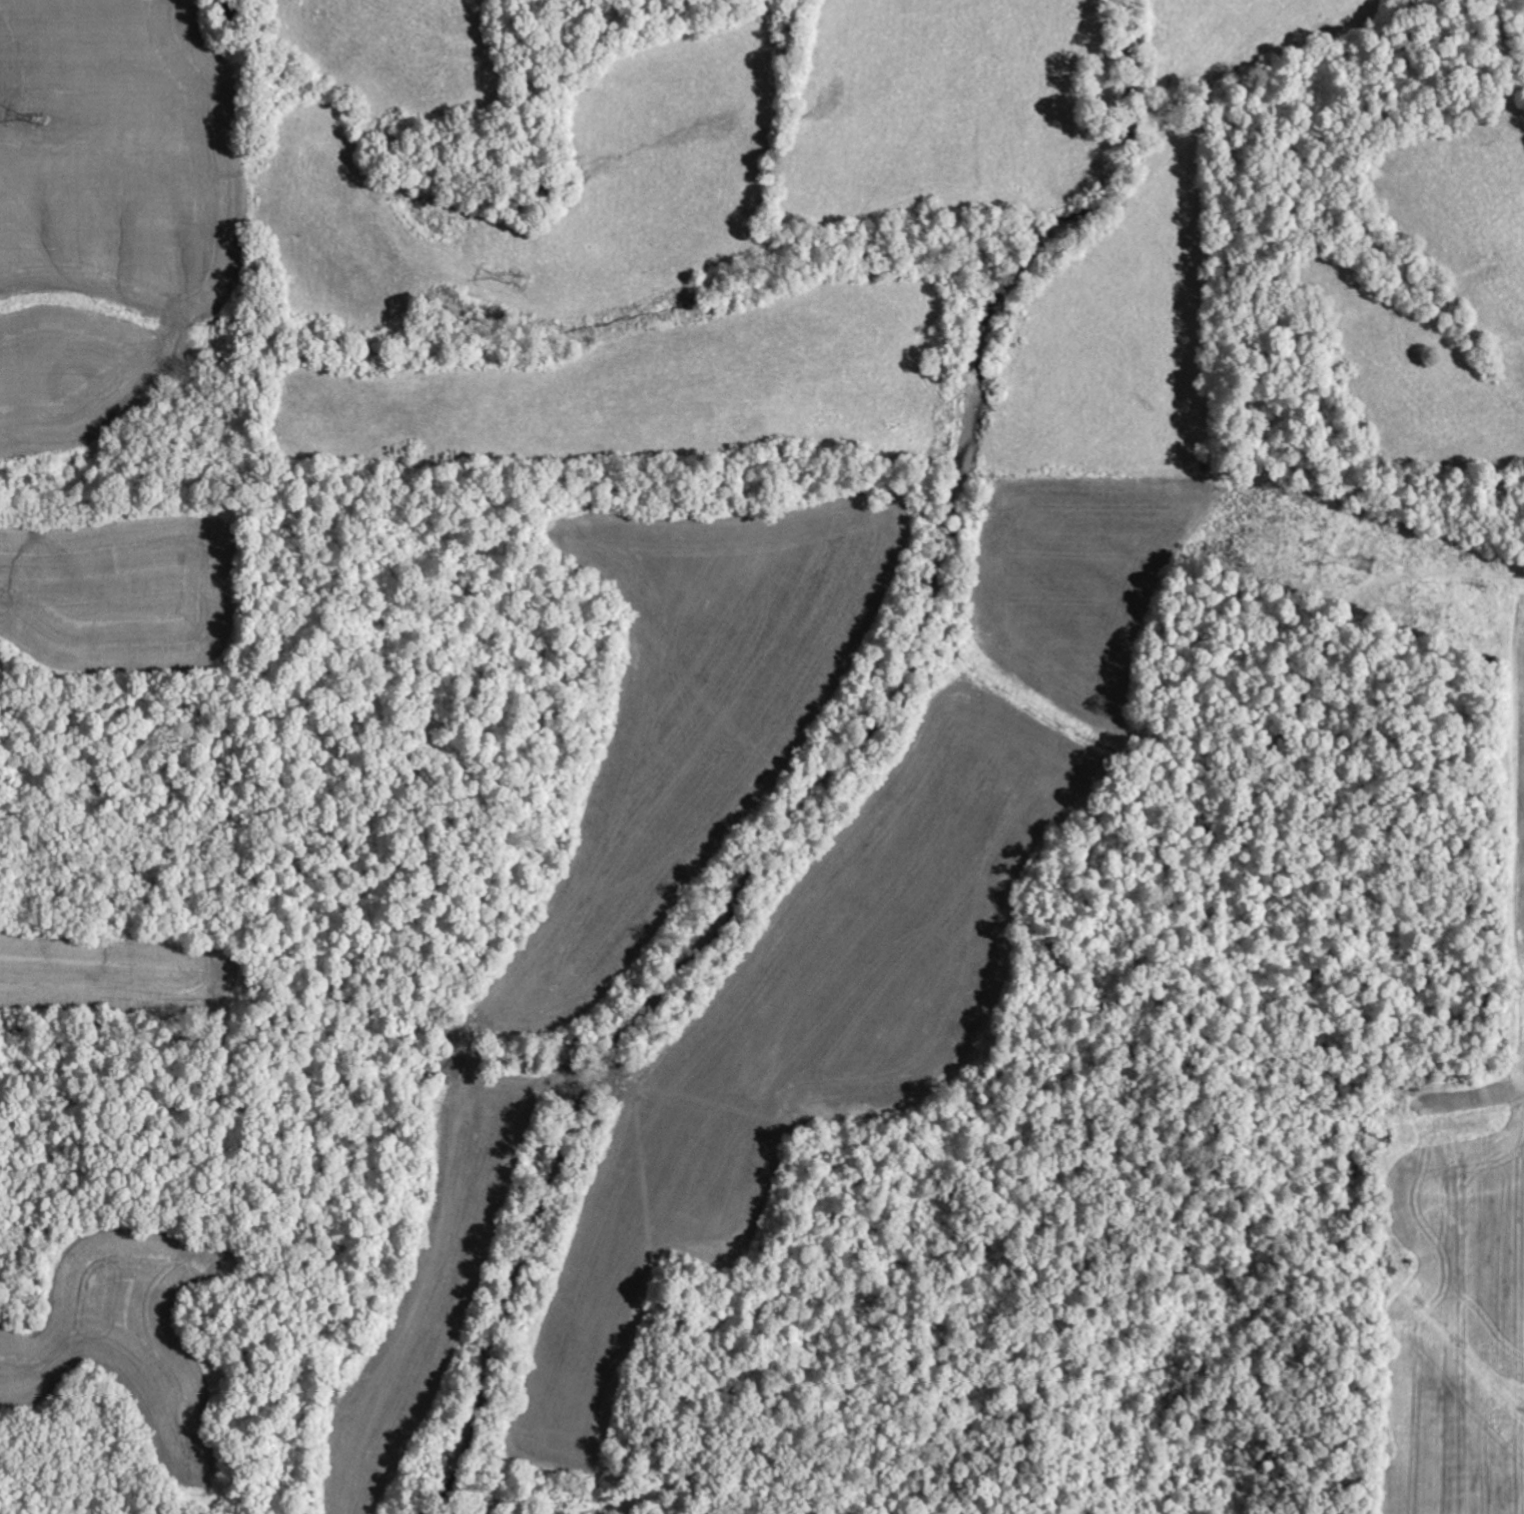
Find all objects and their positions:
power tower: (25, 107)
power tower: (510, 272)
power tower: (1348, 556)

